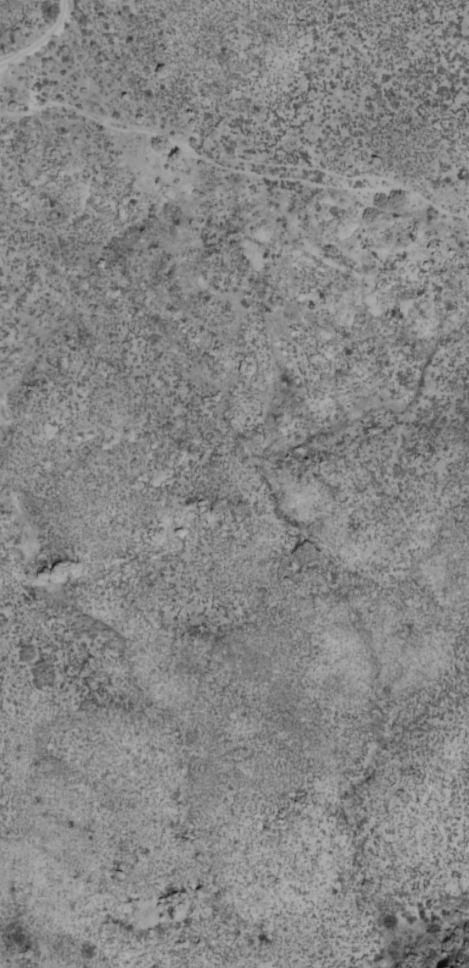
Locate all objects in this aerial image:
road: (47, 40)

